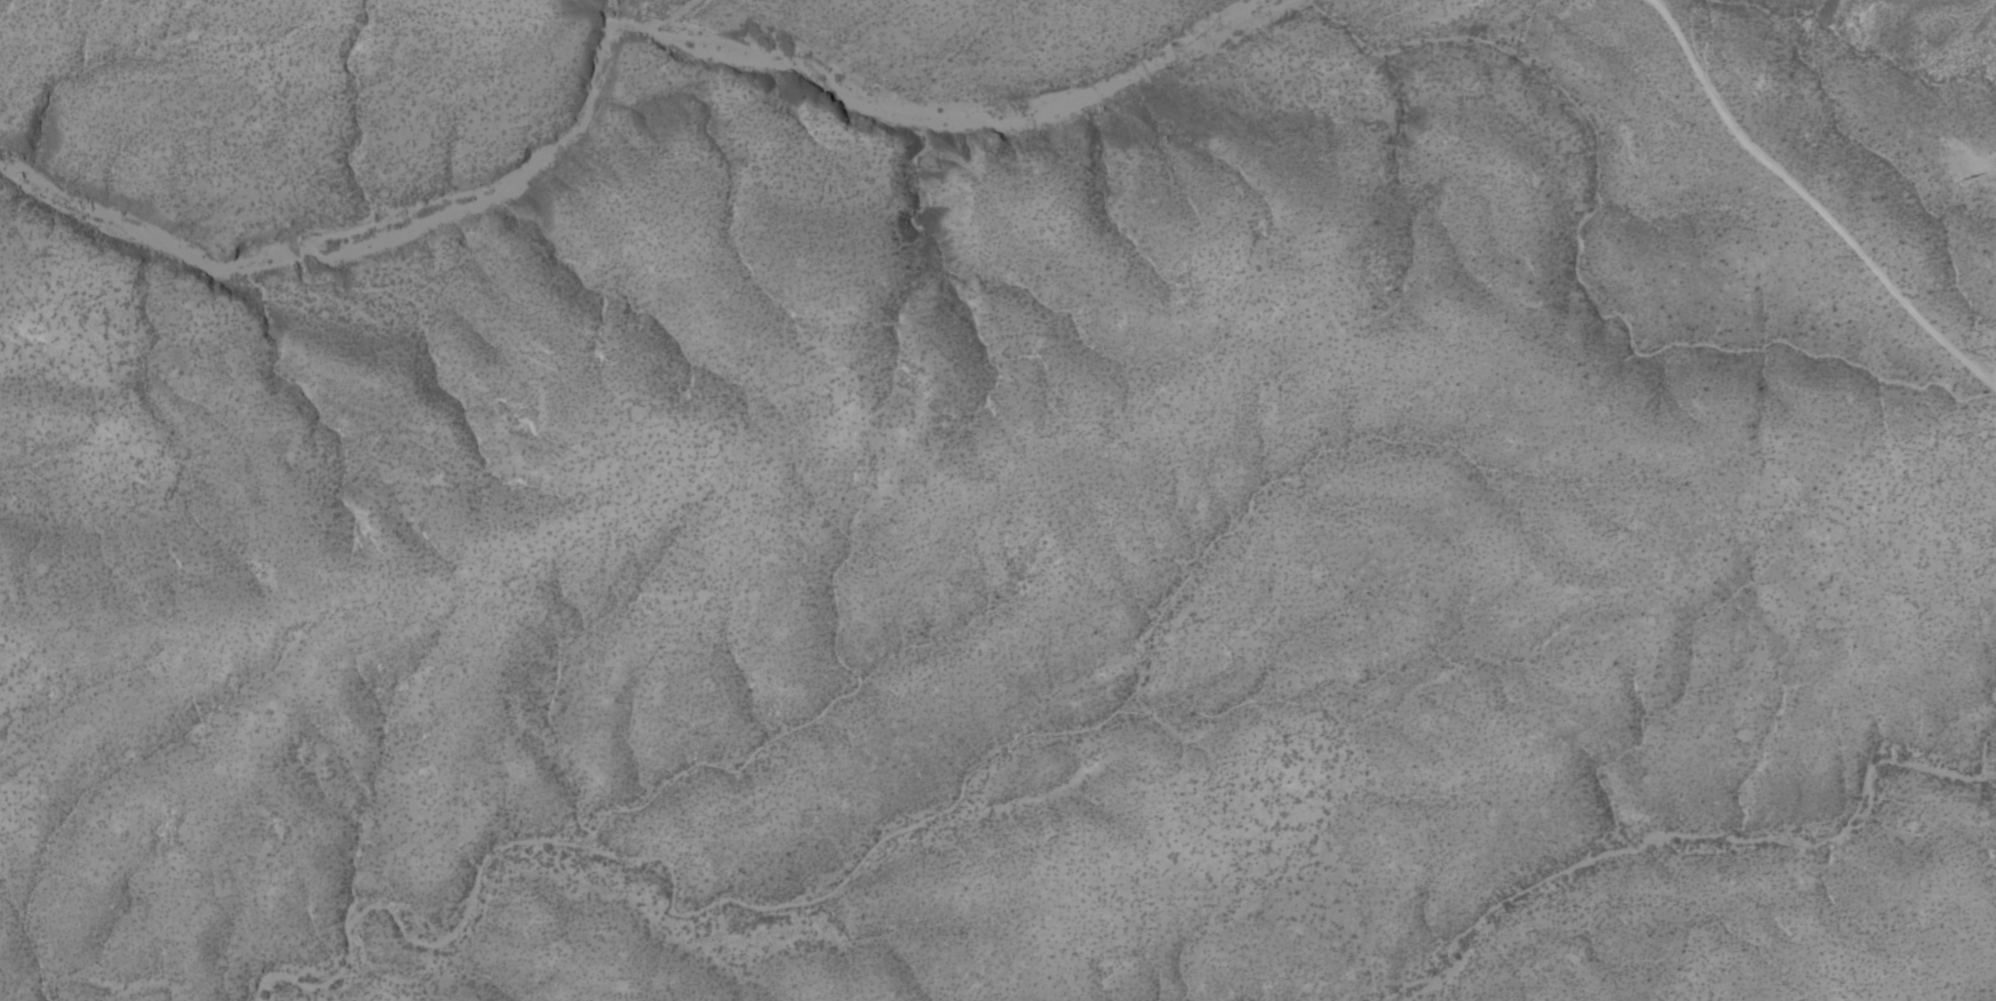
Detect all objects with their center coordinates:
power tower: (1967, 180)
road: (1809, 203)

